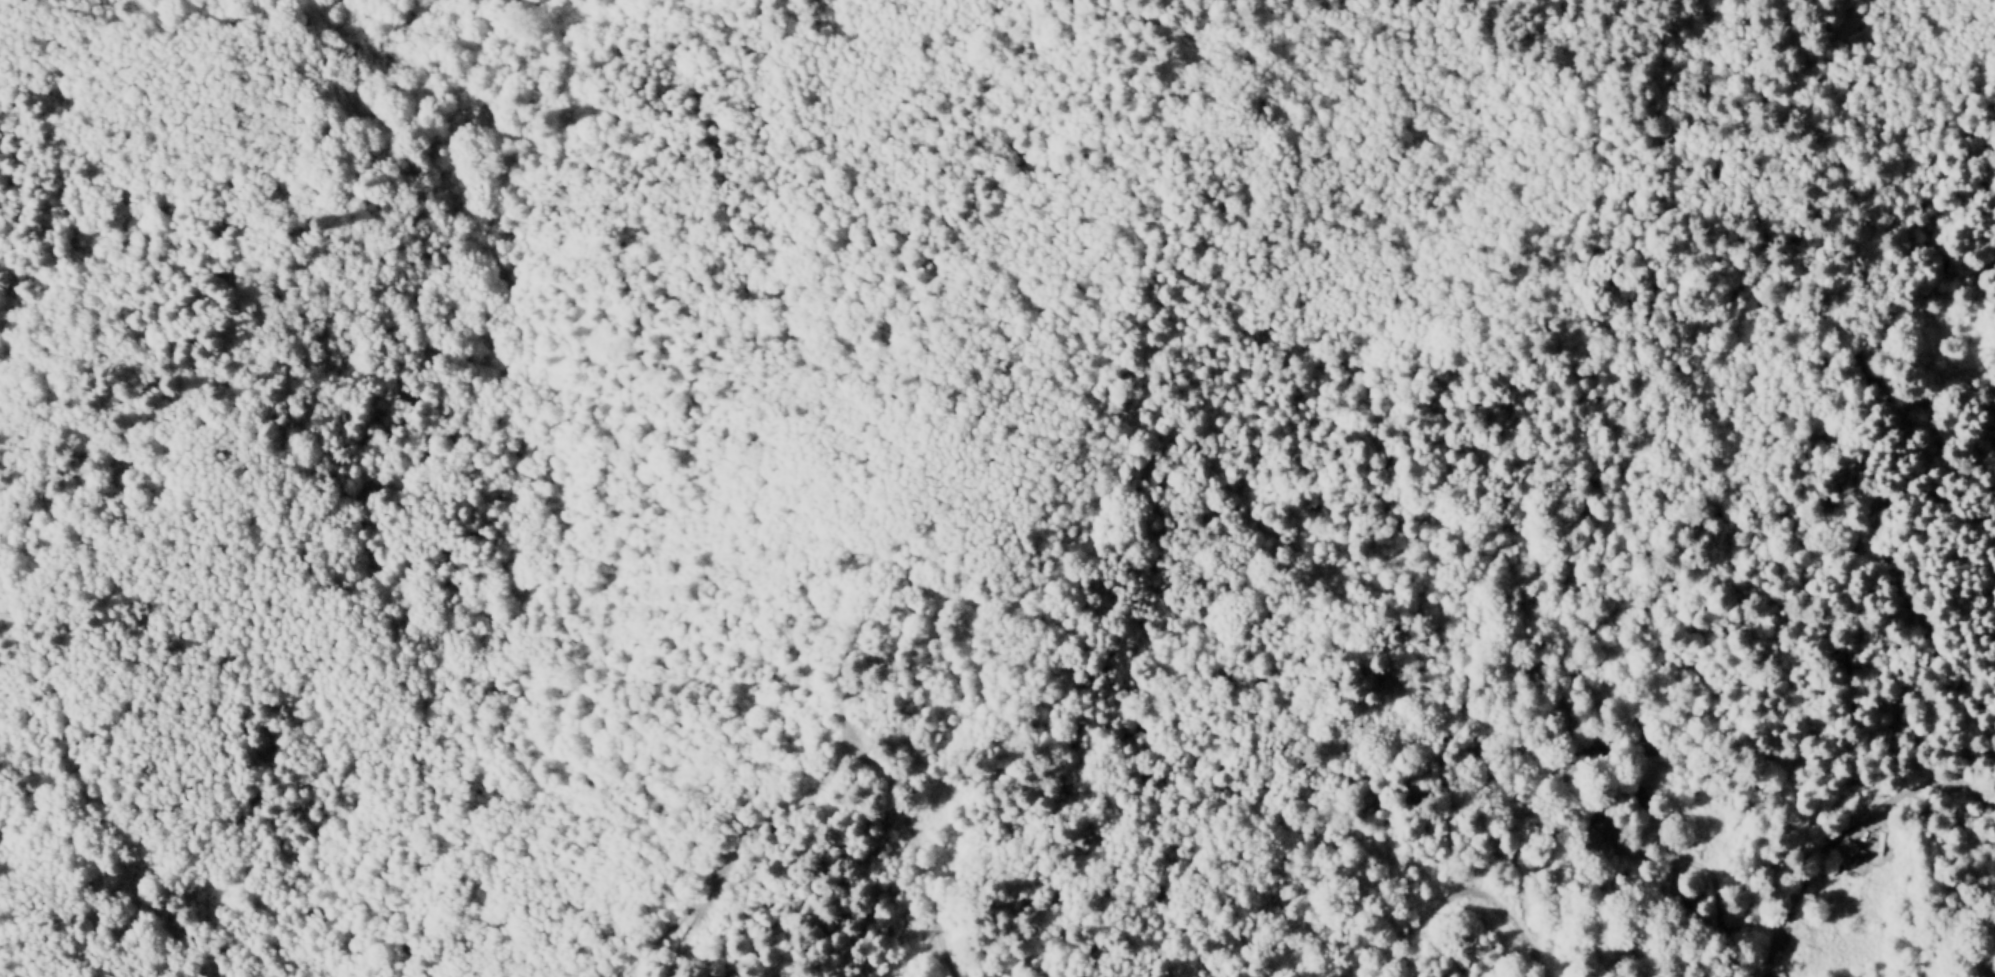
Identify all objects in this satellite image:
road: (1916, 787)
building: (1849, 854)

